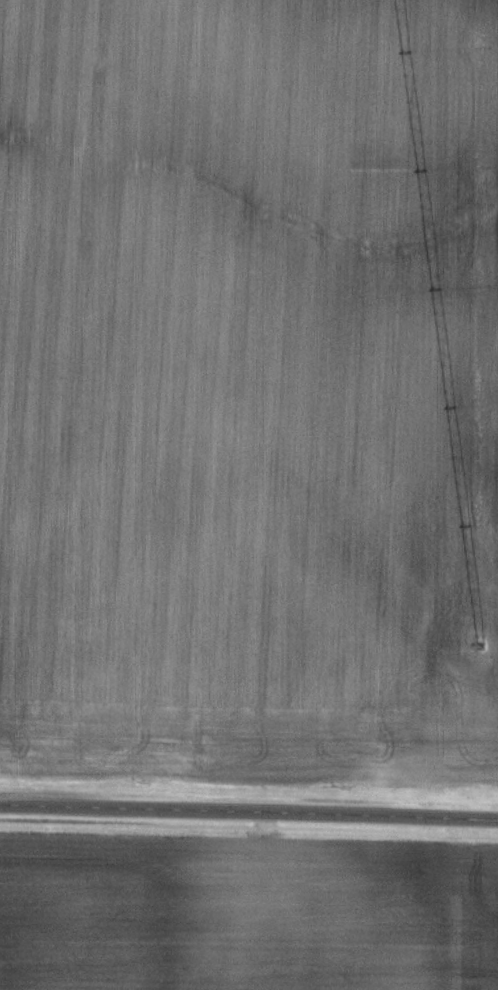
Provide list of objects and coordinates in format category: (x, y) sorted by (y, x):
road: (249, 811)

